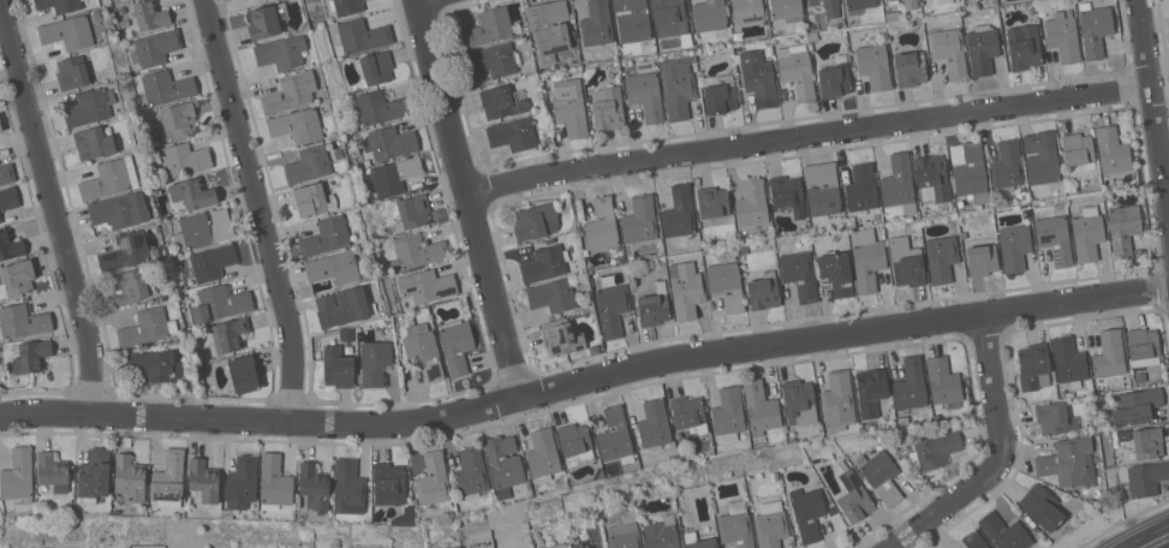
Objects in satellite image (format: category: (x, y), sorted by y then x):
building: (260, 0)
building: (883, 0)
building: (885, 0)
building: (893, 1)
building: (936, 2)
building: (911, 4)
building: (59, 5)
building: (859, 5)
building: (347, 6)
building: (828, 6)
building: (786, 10)
building: (746, 11)
building: (150, 14)
building: (709, 16)
building: (891, 16)
building: (266, 19)
building: (672, 19)
building: (632, 22)
building: (596, 23)
building: (815, 25)
building: (125, 26)
building: (490, 28)
building: (549, 28)
building: (1095, 30)
building: (68, 32)
building: (1063, 35)
building: (360, 36)
building: (1024, 47)
building: (154, 48)
building: (982, 49)
building: (281, 52)
building: (949, 52)
building: (841, 58)
building: (495, 60)
building: (574, 60)
building: (645, 64)
building: (873, 66)
building: (376, 67)
building: (909, 68)
building: (797, 72)
building: (72, 73)
building: (758, 78)
building: (834, 82)
building: (678, 87)
building: (165, 89)
building: (292, 93)
building: (720, 94)
building: (645, 95)
road: (1155, 100)
building: (502, 101)
building: (90, 107)
building: (569, 107)
building: (380, 108)
building: (608, 109)
building: (179, 120)
building: (297, 125)
building: (0, 127)
building: (513, 135)
road: (811, 136)
building: (392, 142)
building: (94, 143)
building: (1076, 149)
building: (1111, 150)
building: (1040, 157)
building: (185, 159)
building: (308, 165)
building: (1007, 166)
building: (968, 171)
building: (7, 173)
building: (394, 175)
building: (932, 175)
building: (109, 179)
building: (899, 183)
building: (822, 189)
building: (861, 189)
building: (193, 193)
building: (787, 193)
building: (8, 198)
road: (471, 198)
building: (314, 199)
building: (712, 202)
building: (752, 203)
road: (55, 205)
road: (261, 209)
building: (119, 210)
building: (412, 212)
building: (679, 213)
building: (0, 220)
building: (639, 220)
building: (536, 221)
building: (0, 222)
building: (602, 226)
building: (1123, 228)
building: (203, 230)
building: (1087, 233)
building: (326, 237)
building: (1055, 238)
building: (10, 245)
building: (1014, 246)
building: (744, 250)
building: (125, 251)
building: (412, 251)
building: (155, 254)
building: (866, 258)
building: (941, 258)
building: (982, 260)
building: (210, 262)
building: (907, 262)
building: (544, 263)
building: (334, 267)
building: (836, 272)
building: (637, 273)
building: (799, 274)
building: (17, 278)
building: (129, 285)
building: (427, 285)
building: (726, 285)
building: (685, 290)
building: (763, 293)
building: (553, 296)
building: (220, 303)
building: (654, 305)
building: (342, 306)
building: (612, 309)
building: (22, 321)
building: (147, 328)
building: (228, 335)
building: (561, 338)
building: (455, 345)
building: (1143, 346)
building: (423, 349)
building: (1109, 353)
building: (29, 356)
building: (1068, 361)
building: (374, 362)
building: (153, 365)
building: (338, 367)
building: (1033, 367)
building: (244, 374)
road: (585, 381)
building: (943, 382)
building: (909, 385)
building: (870, 391)
building: (837, 401)
building: (798, 403)
building: (1135, 406)
building: (759, 407)
building: (688, 412)
building: (728, 413)
building: (1054, 417)
building: (1091, 421)
building: (654, 425)
building: (1122, 433)
building: (614, 436)
building: (574, 440)
building: (1147, 442)
building: (935, 449)
building: (542, 454)
road: (1002, 457)
building: (817, 460)
building: (1067, 463)
building: (503, 464)
building: (52, 471)
building: (471, 472)
building: (94, 475)
building: (774, 476)
building: (881, 476)
building: (18, 477)
building: (1146, 477)
building: (129, 479)
building: (168, 479)
building: (203, 479)
building: (433, 479)
building: (274, 482)
building: (388, 483)
building: (240, 484)
building: (314, 486)
building: (348, 487)
building: (853, 495)
building: (640, 505)
building: (714, 506)
building: (1040, 506)
building: (619, 510)
building: (833, 511)
building: (807, 512)
building: (404, 517)
building: (770, 524)
building: (735, 525)
building: (662, 532)
building: (1004, 532)
building: (624, 536)
building: (973, 540)
building: (698, 541)
road: (1155, 541)
building: (490, 544)
building: (556, 546)
building: (578, 546)
building: (989, 547)

